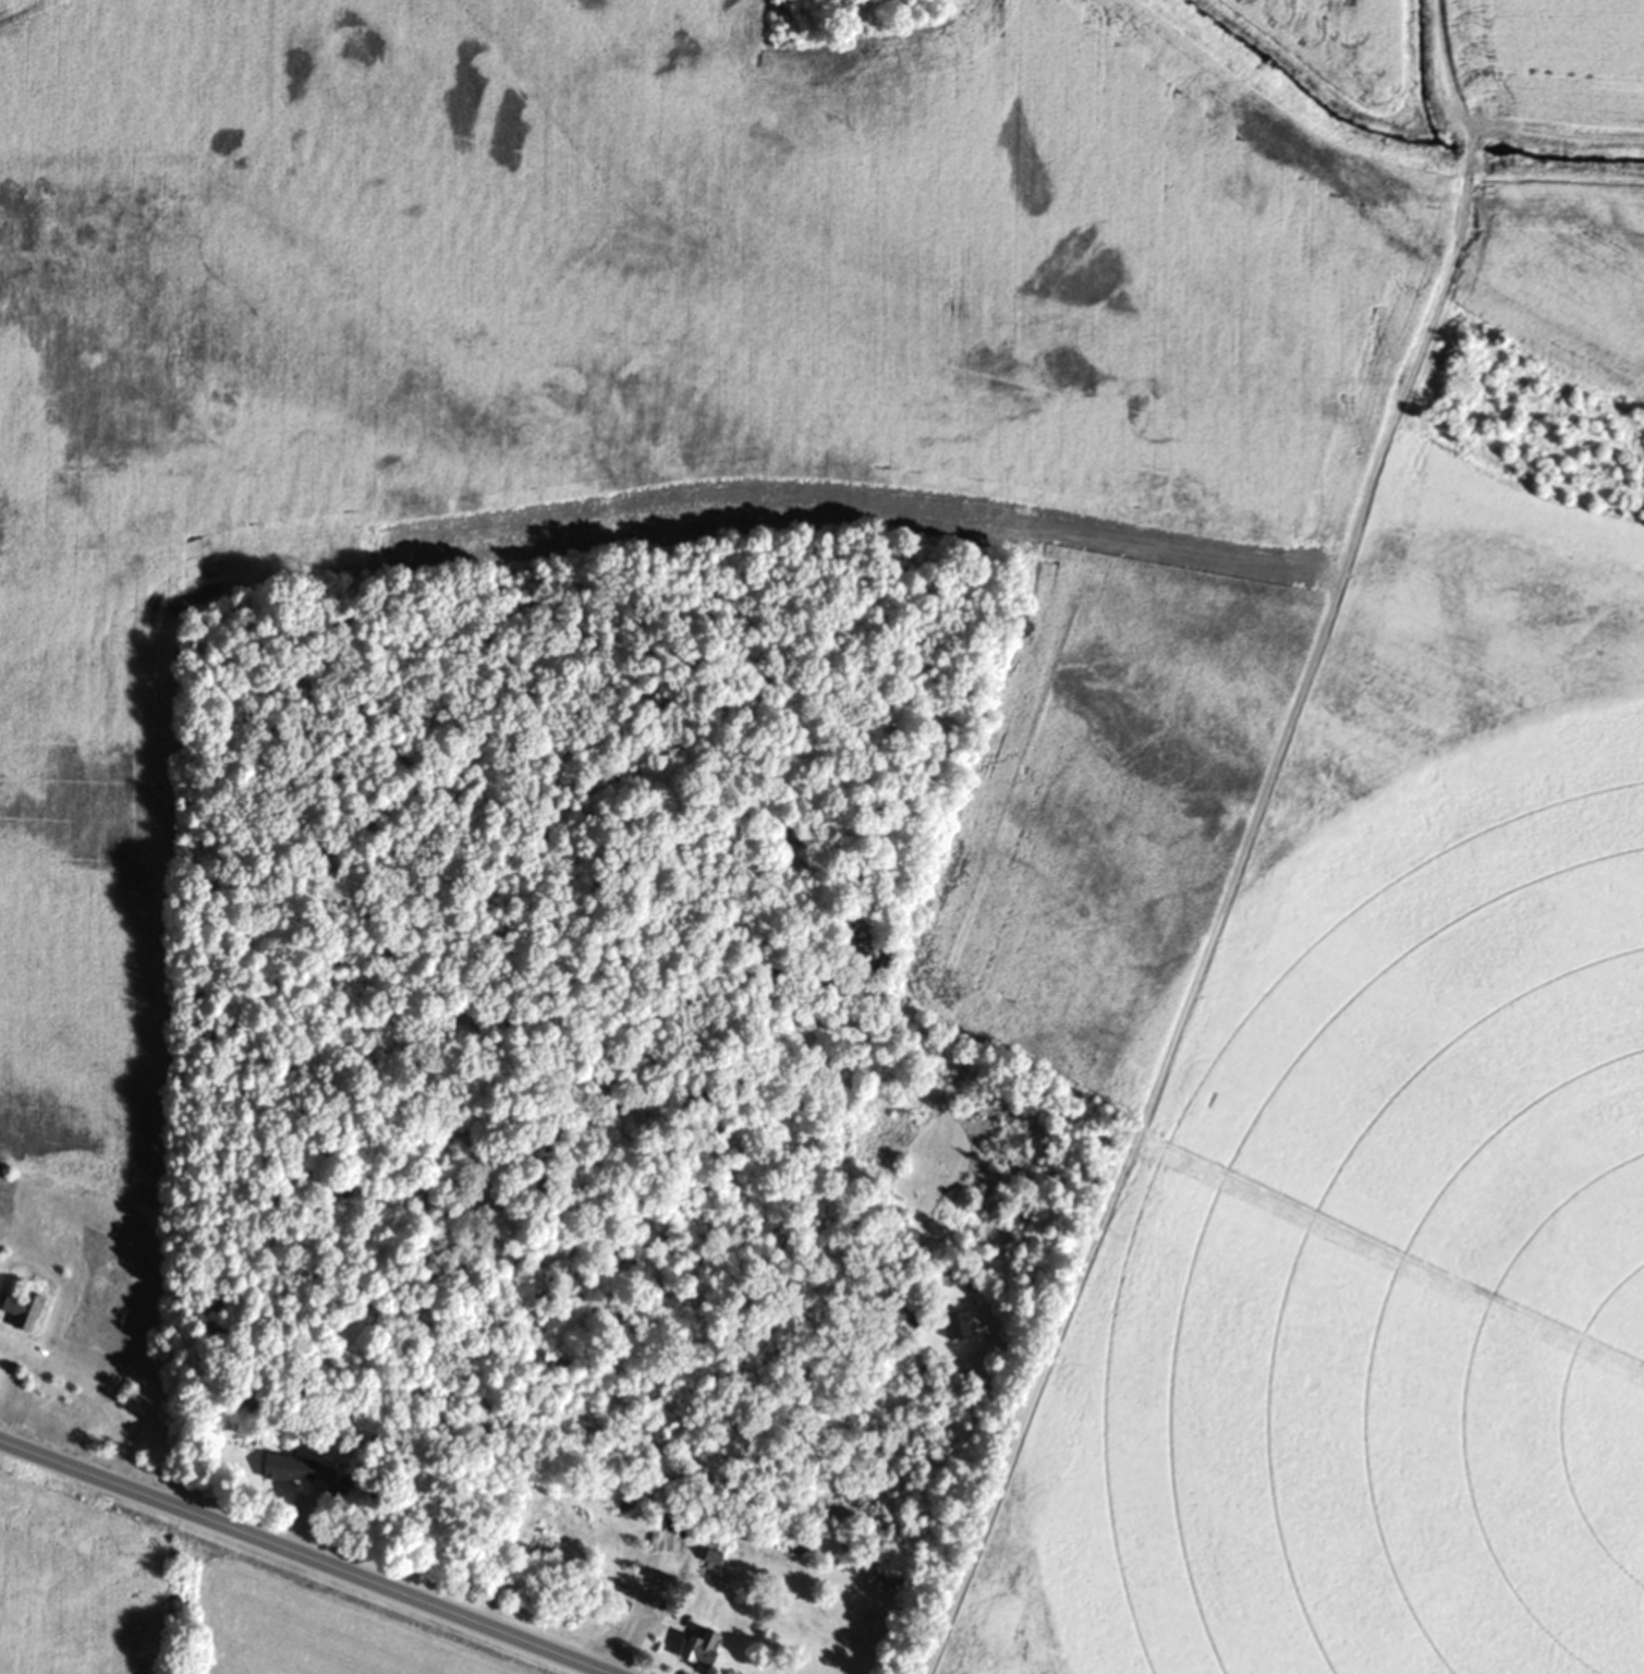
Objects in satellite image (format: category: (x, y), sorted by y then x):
building: (21, 1310)
building: (958, 1325)
building: (709, 1558)
road: (300, 1560)
building: (701, 1647)

